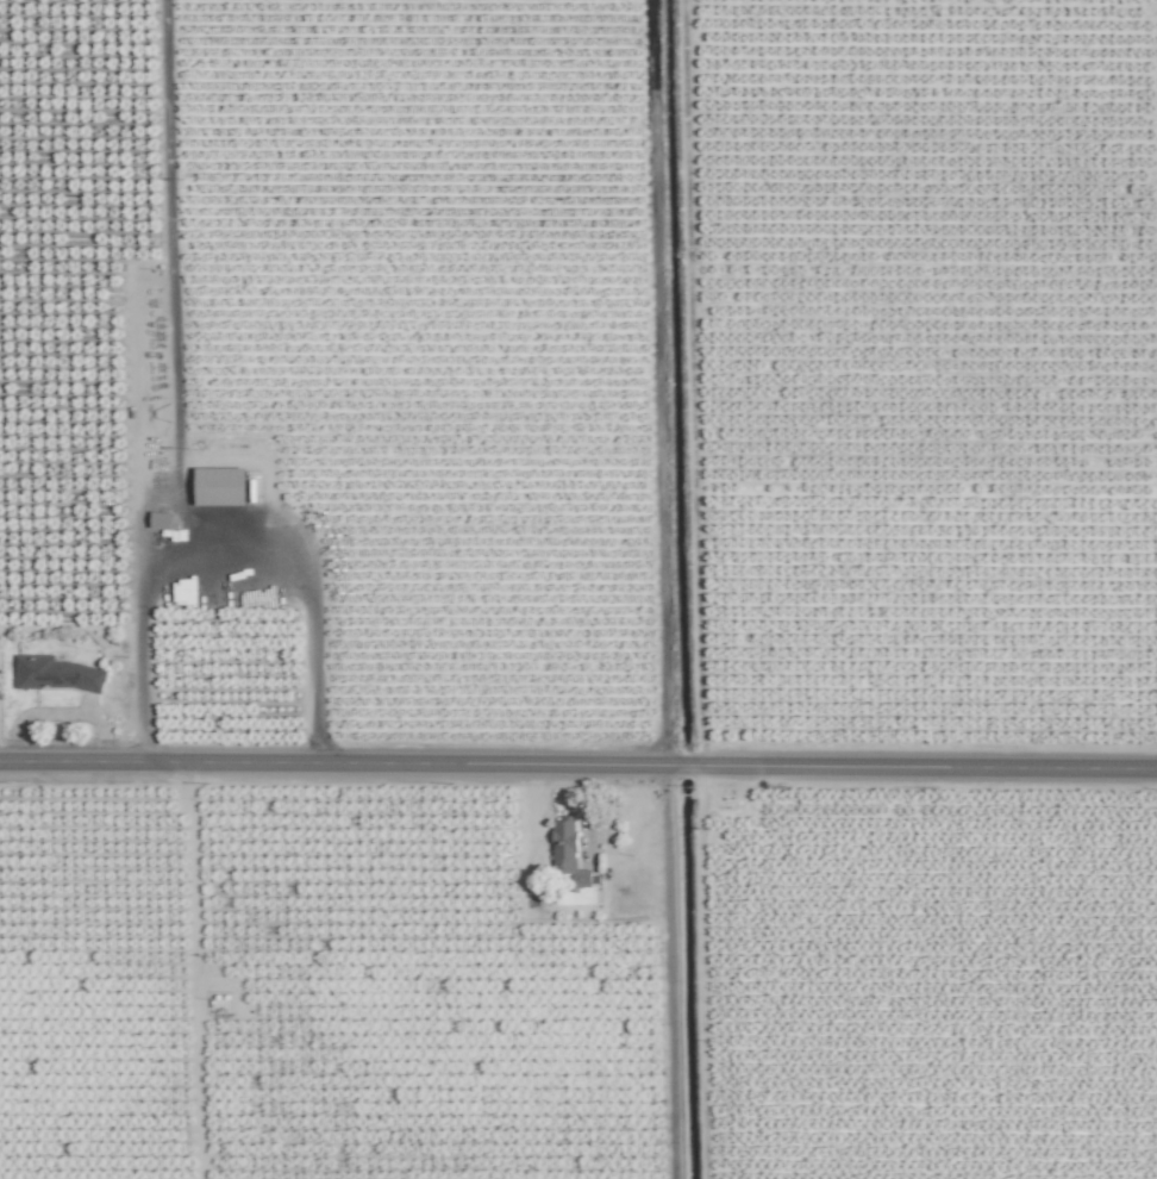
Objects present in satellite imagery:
building: (220, 486)
building: (160, 519)
road: (226, 554)
building: (55, 673)
road: (577, 763)
building: (563, 846)

